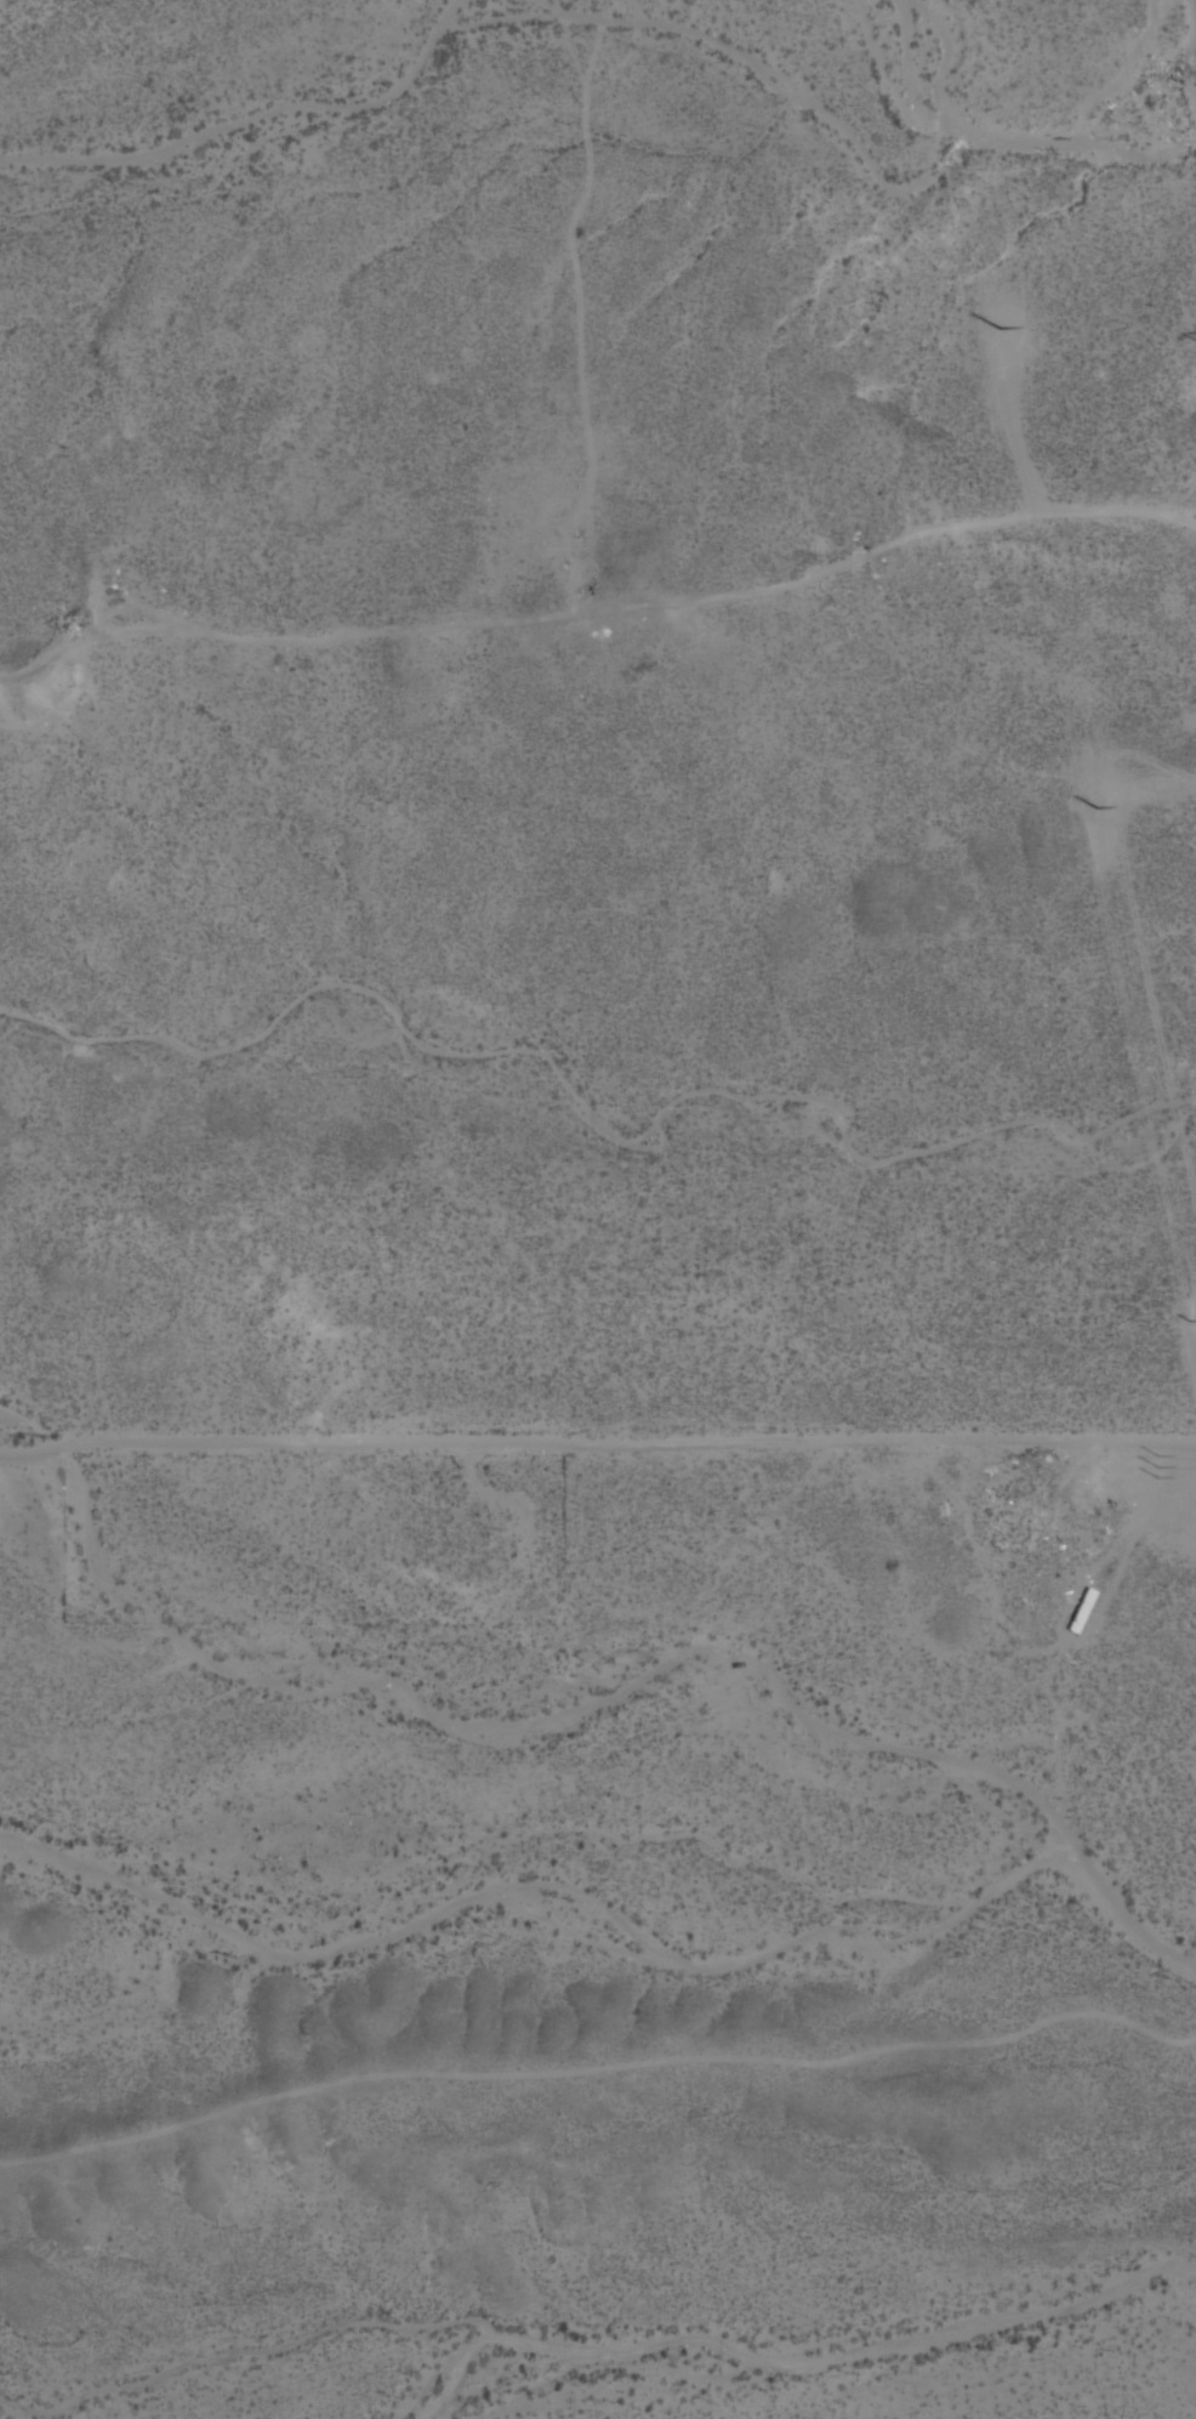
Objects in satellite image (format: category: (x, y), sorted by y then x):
power tower: (1001, 326)
power tower: (1099, 807)
power tower: (1161, 1465)

